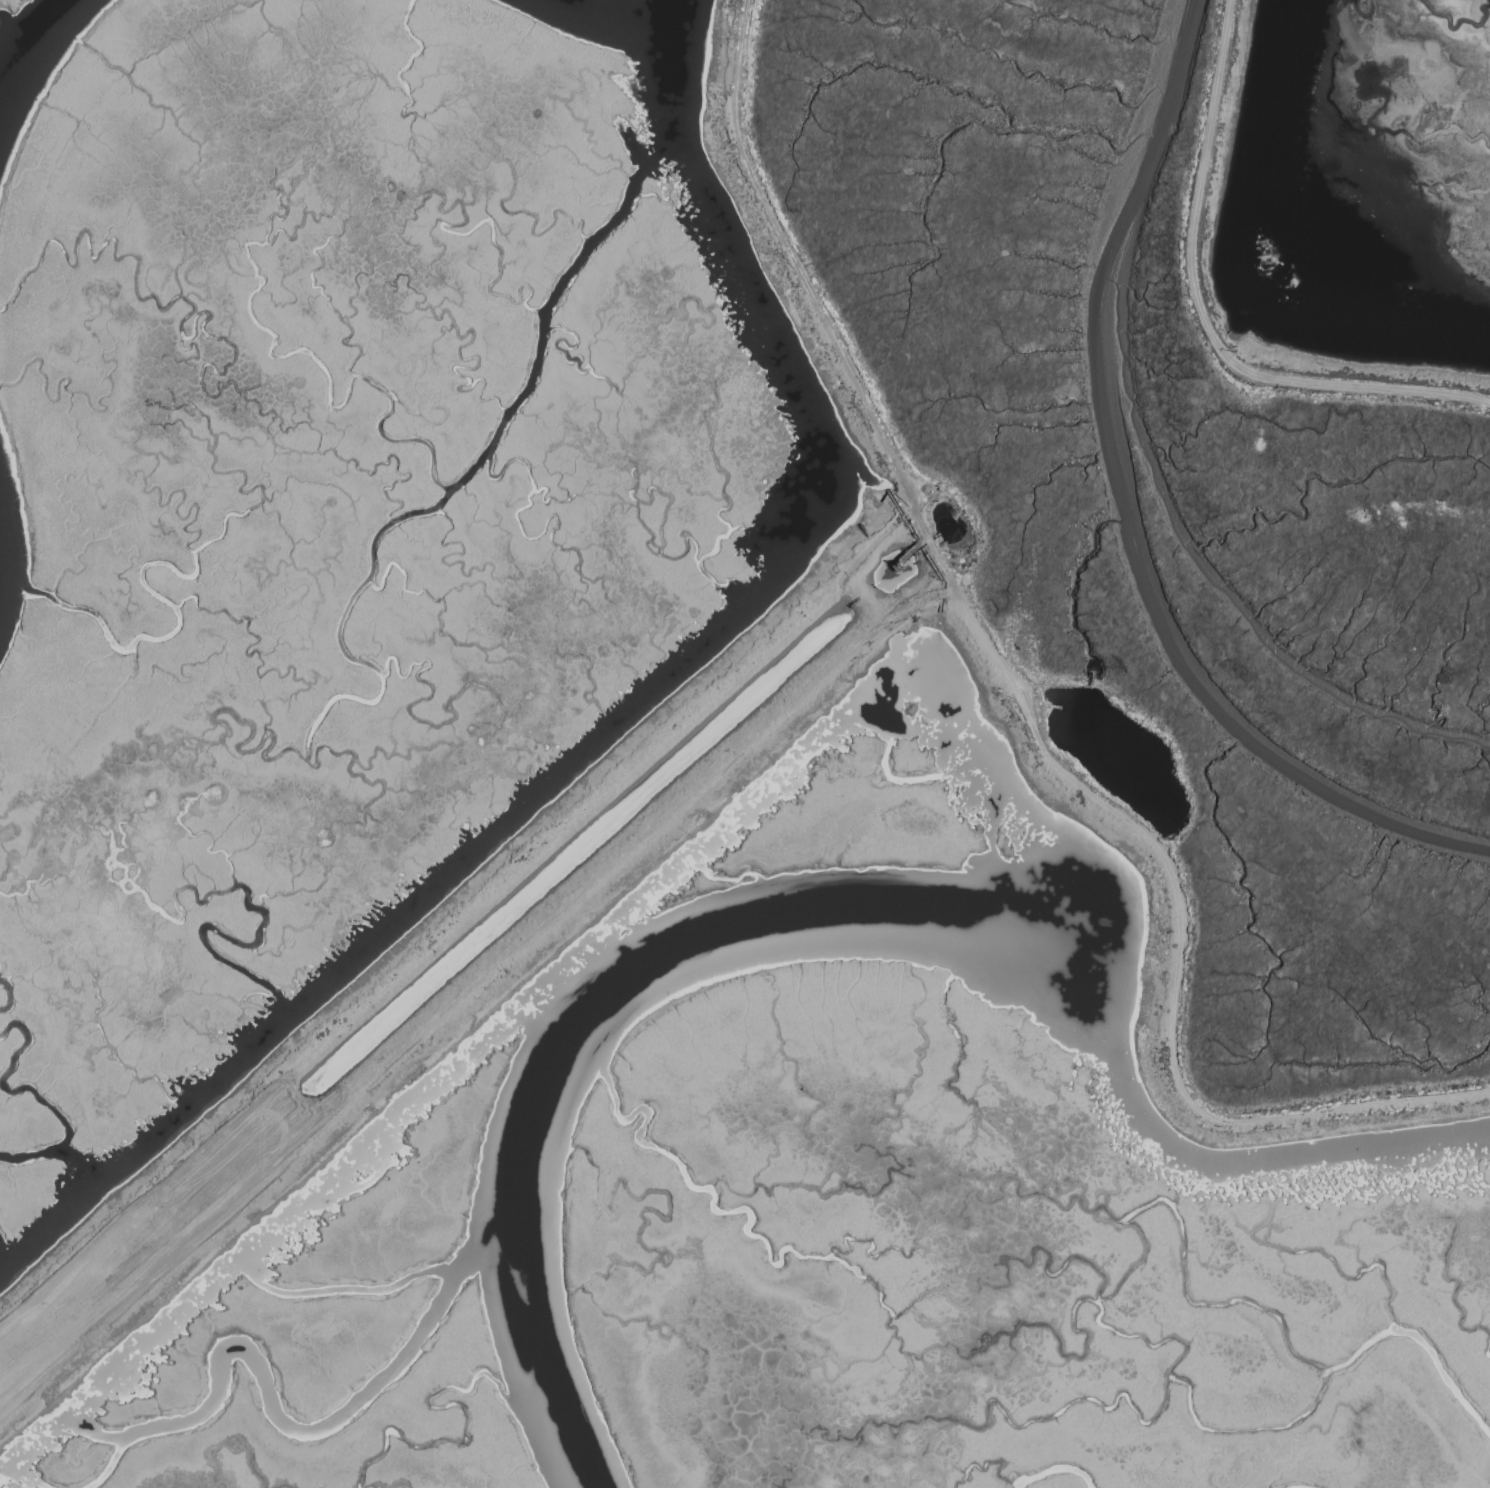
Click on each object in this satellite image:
road: (775, 265)
road: (1202, 313)
road: (838, 579)
road: (467, 999)

